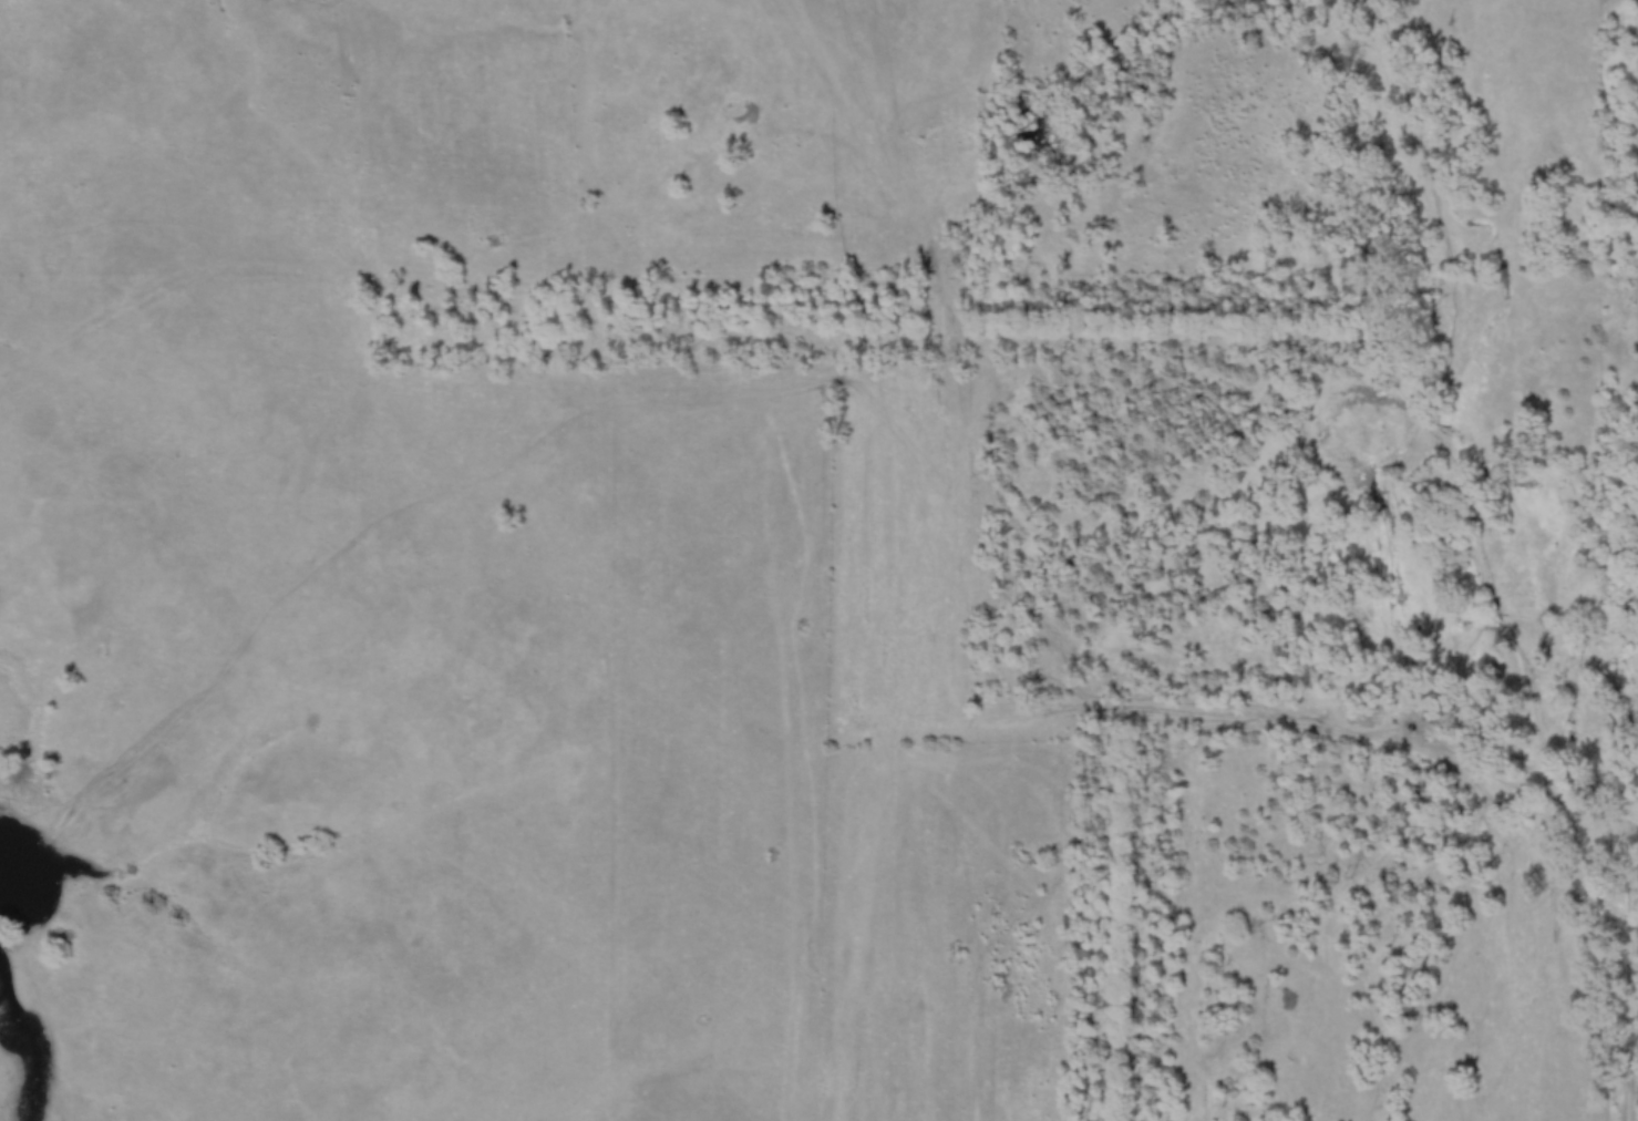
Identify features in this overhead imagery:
road: (1622, 1063)

